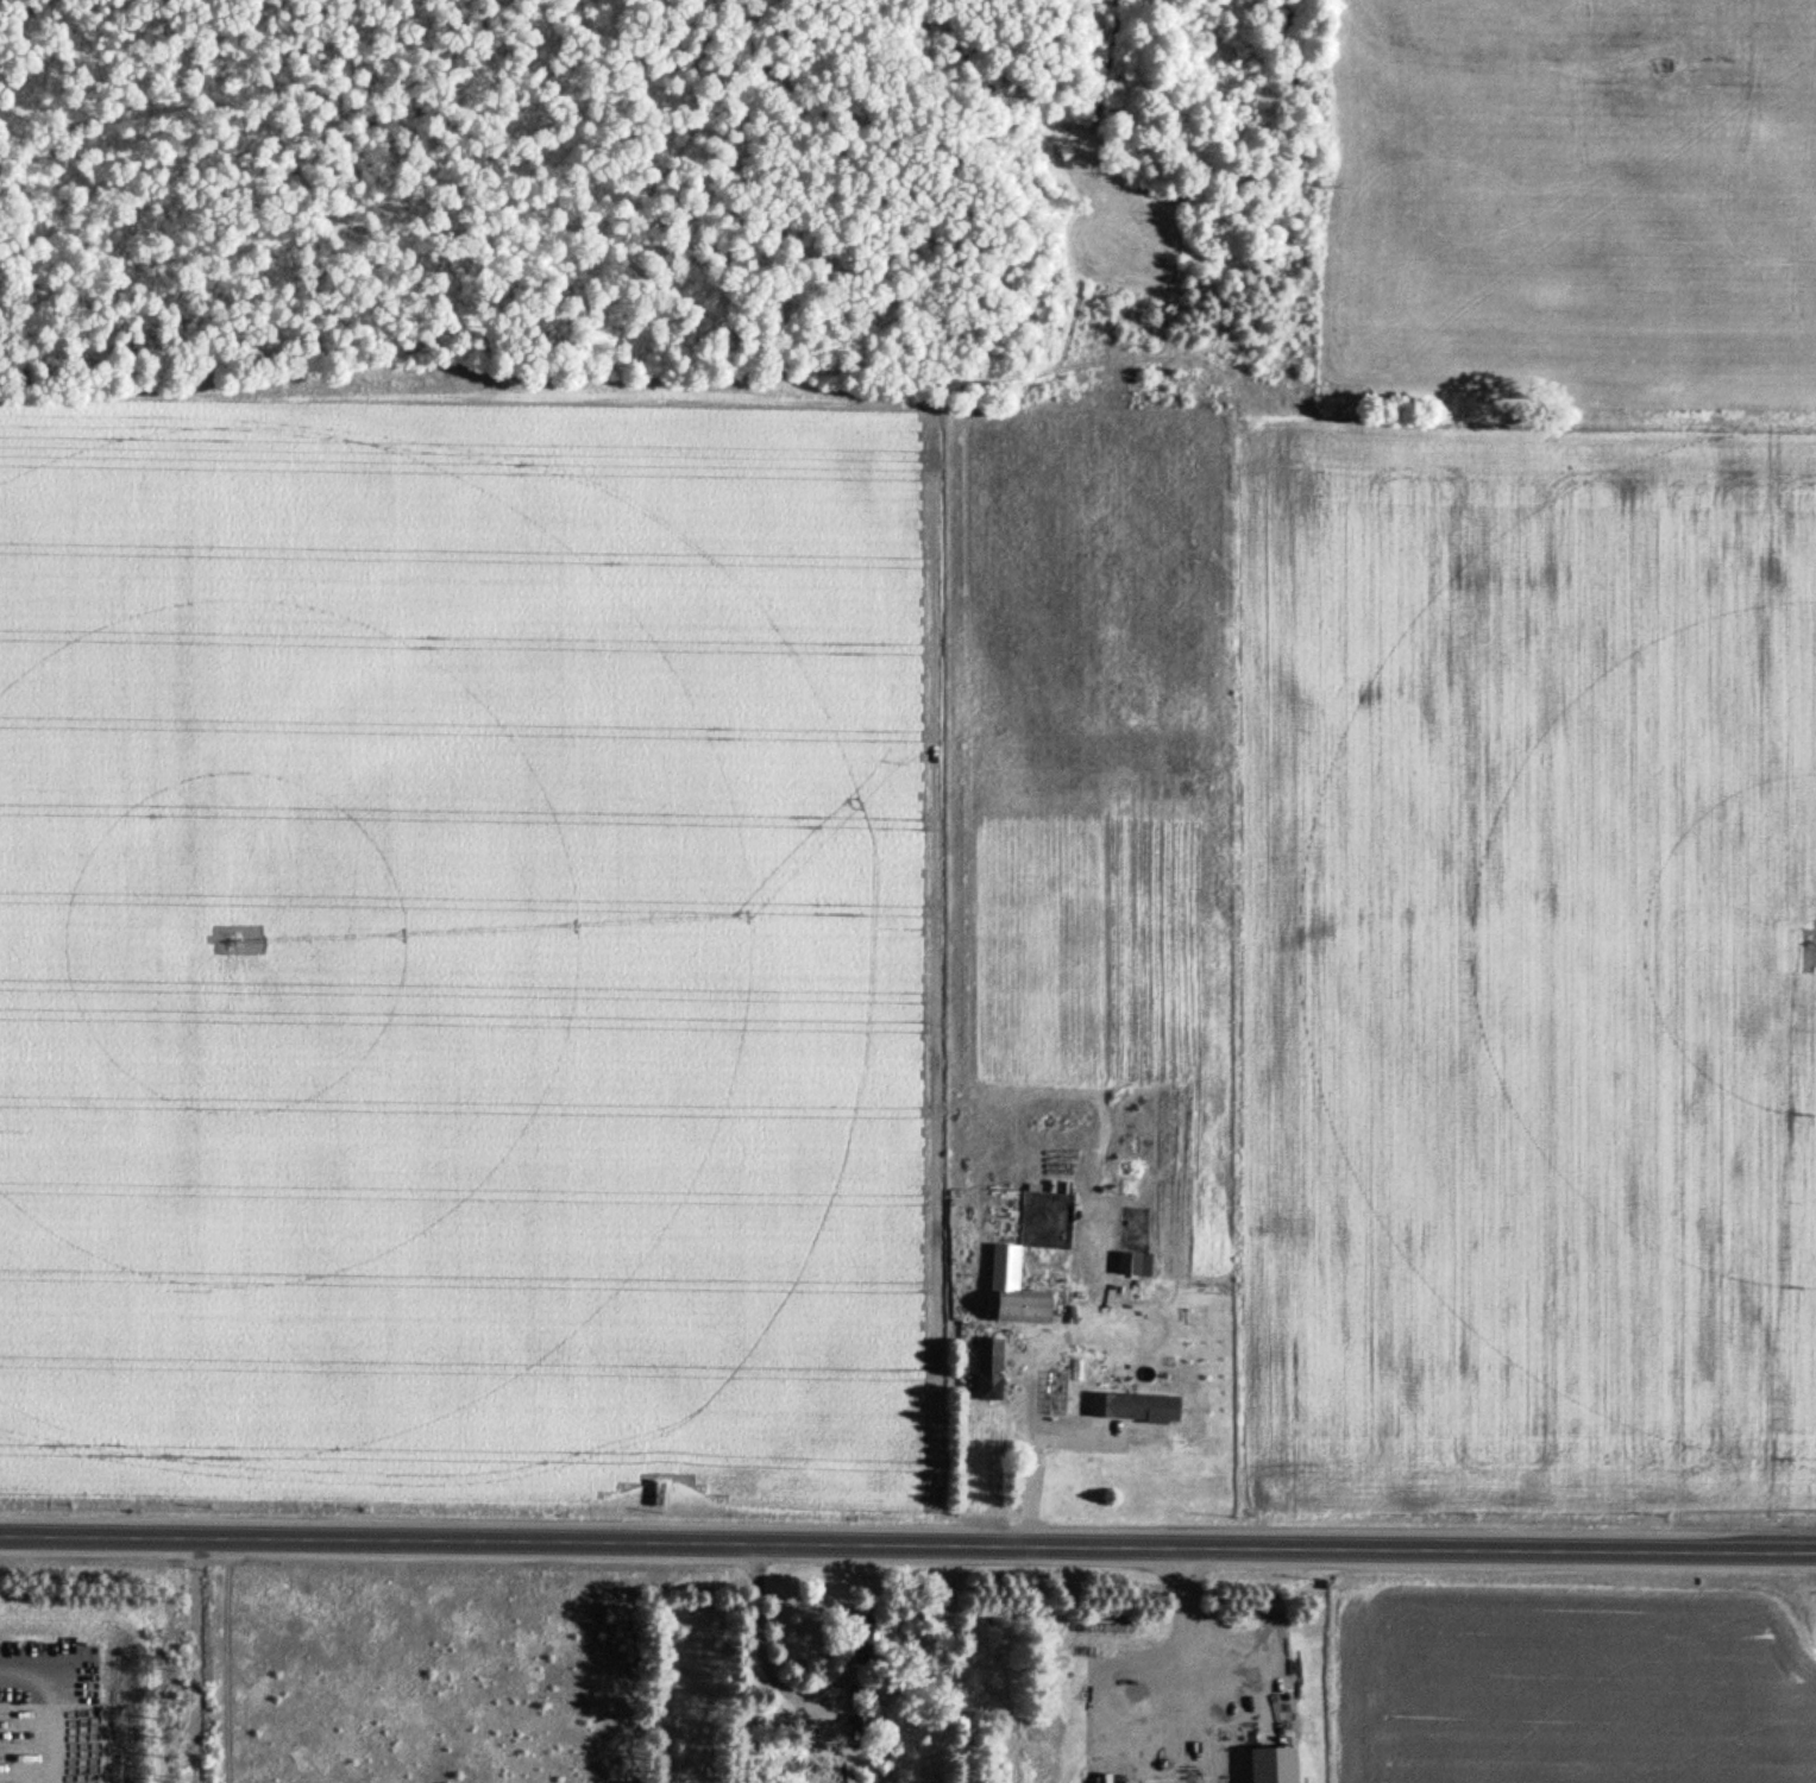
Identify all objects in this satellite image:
building: (1133, 1260)
building: (1017, 1286)
building: (988, 1365)
building: (1135, 1404)
road: (907, 1541)
building: (856, 1722)
building: (12, 1756)
building: (1275, 1763)

